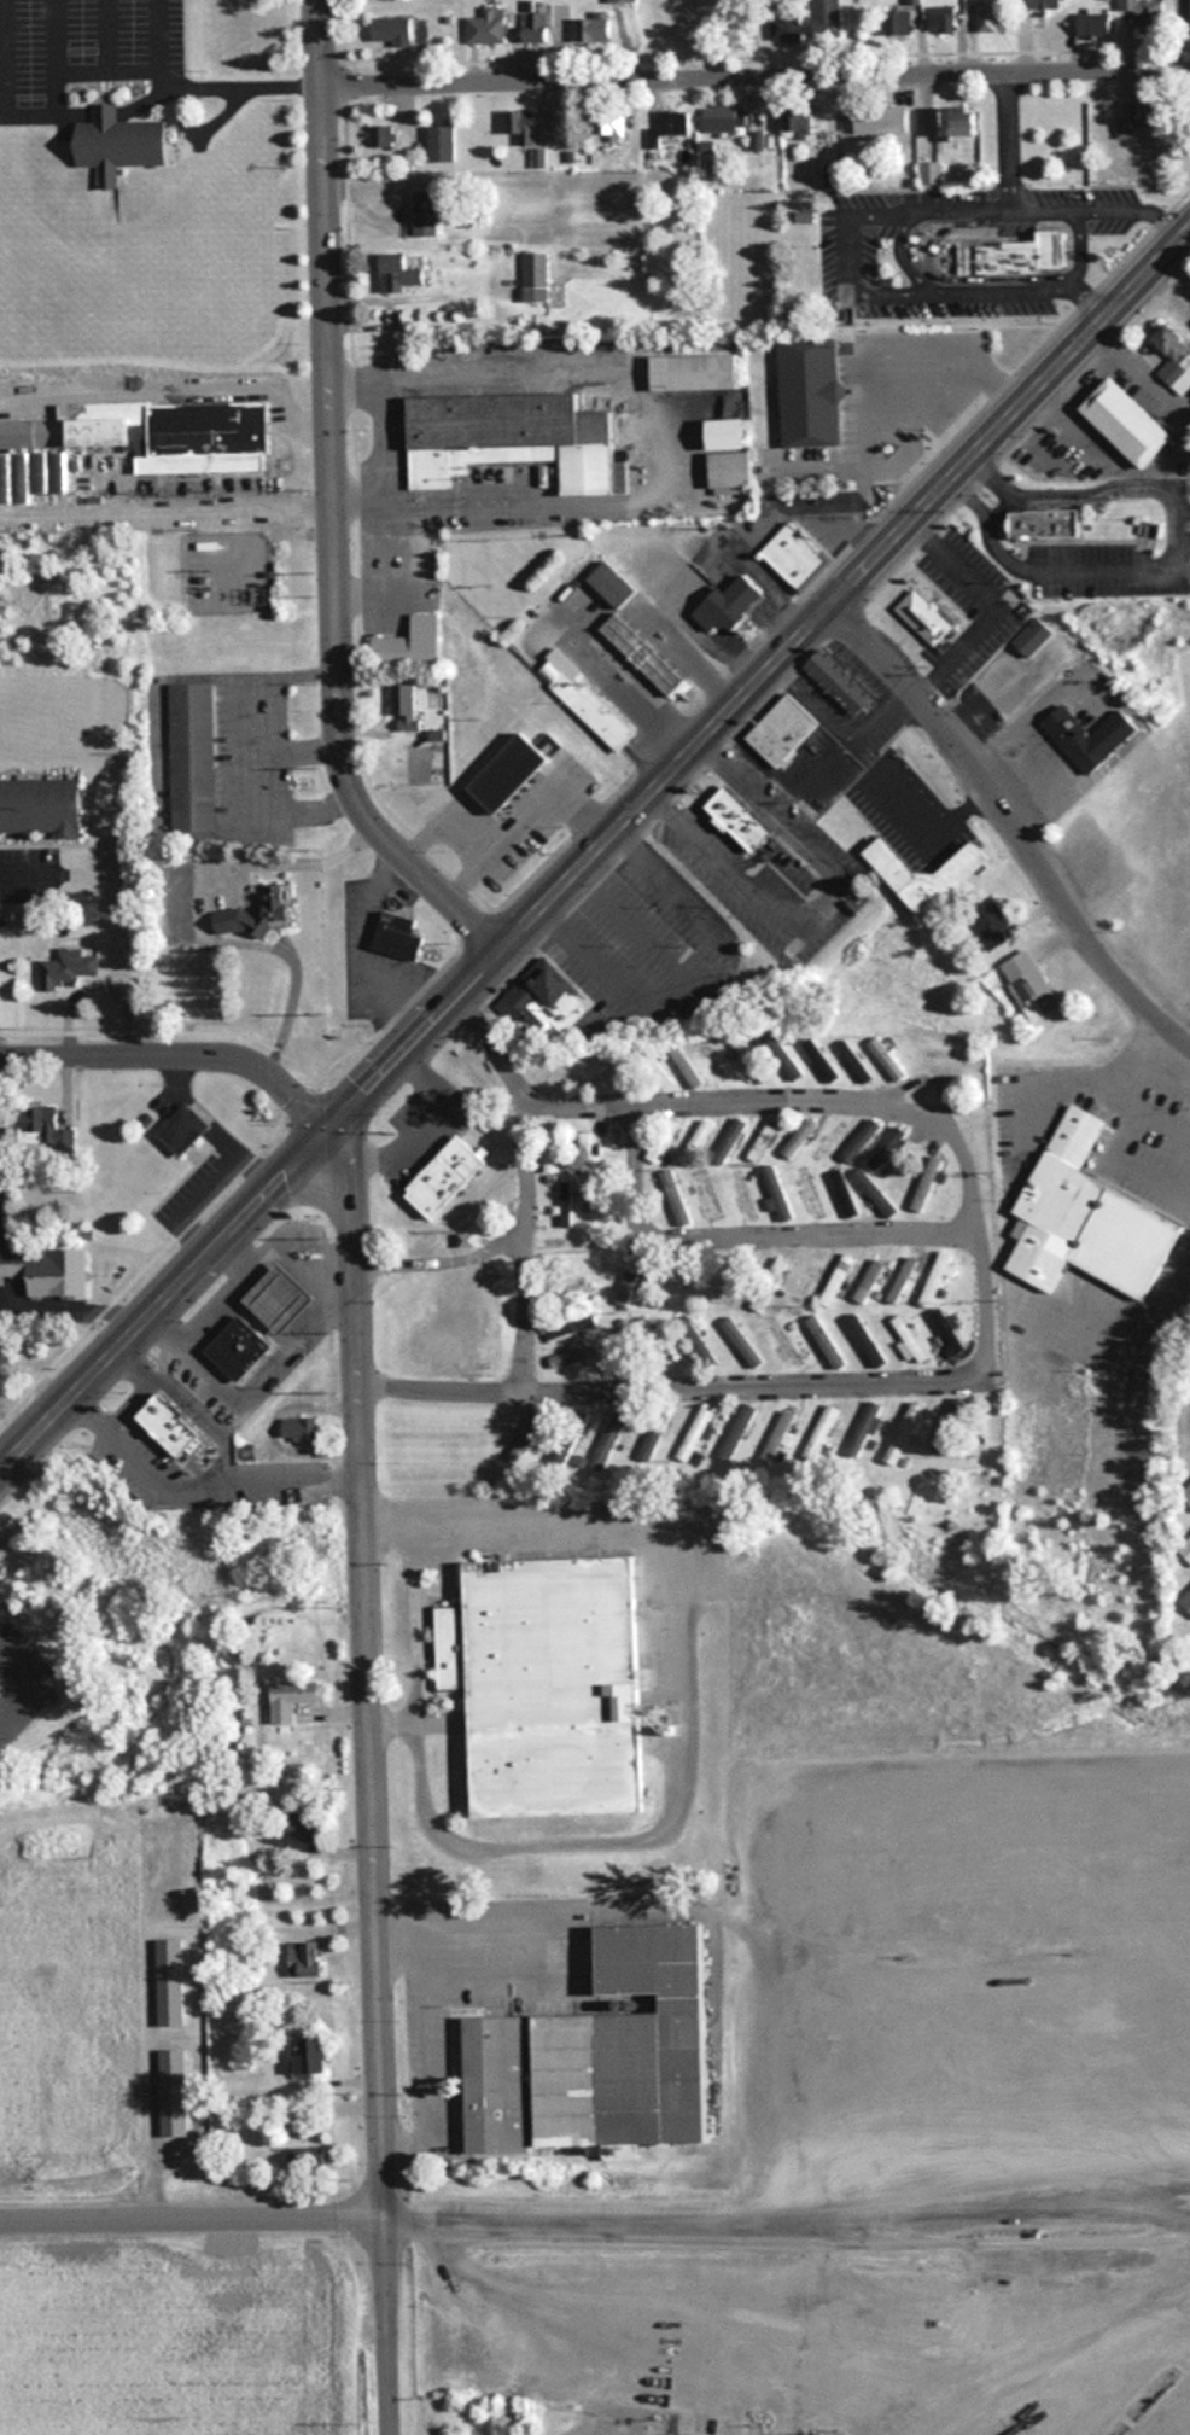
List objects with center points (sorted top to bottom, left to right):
building: (622, 1)
building: (914, 2)
building: (1040, 5)
building: (1145, 14)
building: (826, 21)
building: (943, 21)
building: (992, 21)
building: (243, 23)
building: (784, 24)
building: (898, 24)
building: (1093, 25)
building: (488, 27)
building: (537, 27)
building: (393, 30)
building: (595, 31)
road: (753, 75)
road: (196, 81)
building: (1150, 113)
building: (724, 121)
building: (881, 121)
building: (799, 123)
building: (953, 123)
building: (612, 124)
building: (521, 126)
building: (667, 127)
building: (381, 136)
building: (757, 140)
building: (441, 144)
building: (122, 145)
building: (931, 173)
road: (1037, 193)
road: (1137, 196)
building: (426, 212)
road: (850, 221)
road: (1074, 241)
building: (1013, 256)
building: (402, 273)
building: (536, 276)
road: (1087, 305)
building: (1174, 359)
building: (694, 372)
building: (810, 392)
building: (1126, 423)
building: (731, 435)
building: (509, 437)
building: (134, 442)
building: (731, 472)
road: (329, 502)
road: (164, 508)
building: (1044, 522)
building: (794, 554)
building: (612, 582)
road: (840, 588)
building: (729, 602)
building: (924, 616)
building: (1033, 635)
building: (410, 643)
building: (641, 653)
building: (838, 681)
building: (403, 699)
park: (1173, 709)
building: (593, 710)
building: (783, 730)
building: (1089, 734)
road: (290, 750)
road: (239, 755)
building: (191, 756)
building: (508, 773)
building: (40, 806)
building: (739, 817)
road: (1004, 828)
building: (957, 869)
road: (16, 873)
road: (812, 897)
building: (257, 913)
road: (200, 919)
building: (990, 922)
building: (397, 933)
building: (66, 968)
building: (1029, 985)
building: (543, 1006)
road: (469, 1012)
road: (408, 1037)
building: (821, 1059)
building: (784, 1060)
building: (886, 1060)
road: (173, 1061)
building: (751, 1061)
building: (853, 1061)
building: (684, 1065)
building: (654, 1071)
road: (756, 1107)
building: (37, 1124)
building: (185, 1129)
traffic signals: (325, 1129)
building: (612, 1138)
building: (827, 1138)
building: (862, 1138)
building: (729, 1140)
building: (797, 1140)
building: (695, 1142)
building: (762, 1142)
building: (887, 1148)
building: (658, 1150)
building: (584, 1158)
road: (339, 1160)
road: (523, 1167)
building: (444, 1176)
building: (927, 1183)
building: (874, 1192)
building: (777, 1193)
building: (809, 1193)
building: (742, 1195)
building: (673, 1199)
building: (844, 1199)
building: (565, 1204)
building: (606, 1212)
building: (1080, 1216)
road: (756, 1242)
road: (438, 1262)
building: (47, 1270)
building: (934, 1278)
building: (836, 1280)
building: (900, 1280)
building: (868, 1281)
building: (568, 1288)
building: (626, 1288)
building: (280, 1297)
road: (163, 1299)
road: (524, 1315)
building: (567, 1324)
building: (947, 1328)
building: (822, 1338)
building: (909, 1340)
building: (741, 1342)
building: (869, 1346)
building: (239, 1347)
road: (355, 1355)
building: (573, 1356)
road: (740, 1388)
park: (1189, 1394)
building: (169, 1423)
building: (299, 1429)
building: (863, 1429)
building: (618, 1432)
building: (737, 1432)
building: (818, 1432)
building: (903, 1433)
building: (693, 1434)
building: (529, 1435)
building: (775, 1438)
building: (567, 1439)
building: (1186, 1495)
building: (1185, 1549)
park: (1183, 1601)
building: (1185, 1601)
building: (547, 1684)
building: (293, 1697)
road: (390, 1717)
road: (664, 1808)
building: (302, 1824)
road: (146, 1928)
building: (304, 1959)
road: (377, 1975)
building: (169, 1981)
road: (419, 2041)
building: (310, 2052)
building: (600, 2056)
road: (746, 2066)
building: (171, 2092)
building: (309, 2157)
road: (191, 2216)
road: (588, 2361)

